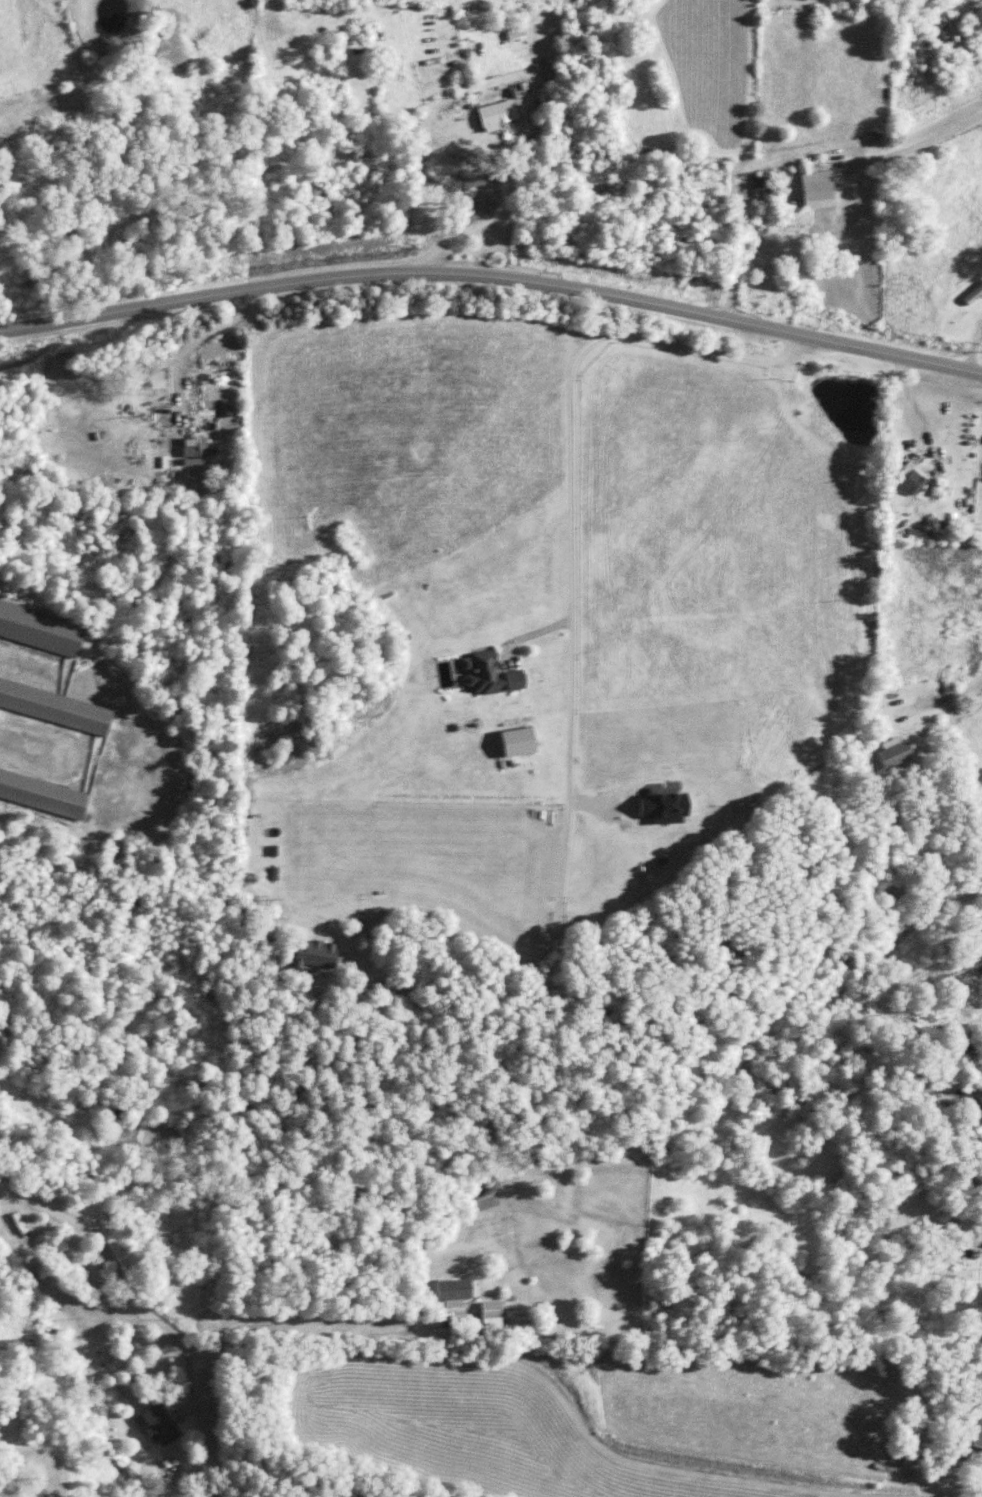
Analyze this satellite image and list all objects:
building: (950, 31)
building: (512, 32)
building: (981, 41)
building: (495, 113)
road: (792, 150)
road: (513, 186)
building: (815, 188)
road: (493, 275)
building: (972, 294)
building: (196, 448)
building: (912, 482)
building: (40, 628)
road: (572, 645)
road: (945, 697)
building: (55, 704)
building: (518, 742)
building: (892, 752)
building: (42, 793)
building: (662, 806)
building: (313, 954)
road: (958, 1217)
building: (451, 1292)
building: (489, 1314)
road: (417, 1355)
building: (158, 1423)
building: (978, 1432)

